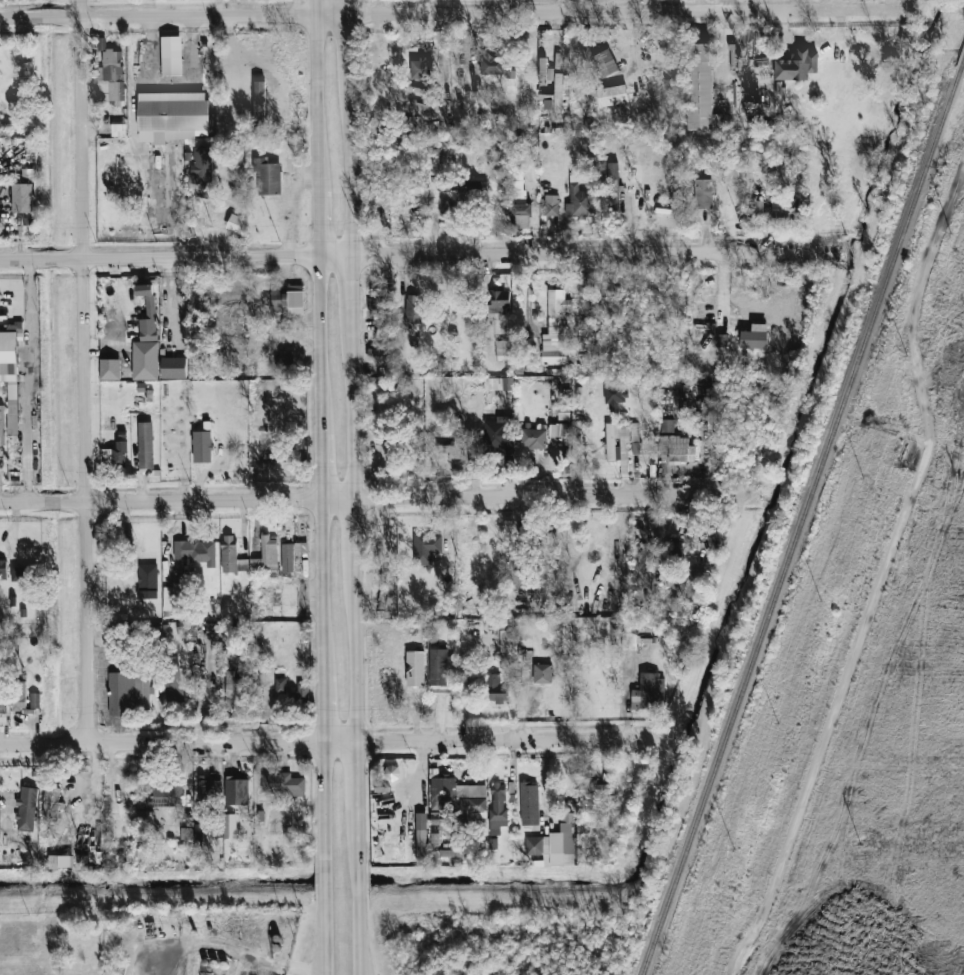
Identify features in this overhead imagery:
road: (316, 5)
road: (345, 5)
road: (450, 9)
building: (907, 35)
road: (346, 45)
building: (172, 55)
building: (605, 63)
railway: (963, 63)
building: (542, 64)
building: (492, 65)
building: (796, 65)
building: (420, 68)
parking lot: (170, 69)
building: (111, 77)
building: (701, 88)
building: (560, 91)
building: (612, 95)
road: (317, 100)
building: (548, 103)
building: (168, 116)
building: (119, 130)
building: (202, 166)
road: (349, 168)
building: (267, 177)
building: (517, 185)
building: (613, 185)
building: (377, 188)
building: (475, 188)
building: (703, 193)
building: (23, 198)
building: (579, 202)
building: (550, 205)
building: (758, 206)
building: (785, 207)
building: (445, 208)
building: (521, 216)
road: (318, 222)
building: (236, 223)
road: (586, 253)
road: (175, 258)
road: (351, 285)
building: (276, 299)
building: (296, 299)
building: (499, 302)
building: (284, 303)
building: (745, 305)
building: (413, 308)
building: (148, 313)
building: (384, 318)
building: (166, 319)
building: (555, 328)
building: (754, 339)
road: (319, 345)
building: (502, 350)
building: (377, 355)
building: (285, 358)
building: (146, 361)
building: (110, 369)
road: (85, 370)
building: (10, 375)
road: (32, 381)
building: (497, 383)
building: (614, 394)
road: (350, 406)
building: (564, 413)
building: (667, 425)
building: (557, 429)
building: (634, 431)
building: (499, 434)
building: (533, 438)
building: (617, 441)
building: (145, 445)
building: (262, 445)
building: (202, 446)
building: (635, 447)
building: (454, 448)
building: (676, 448)
building: (114, 455)
road: (320, 467)
building: (649, 471)
road: (367, 498)
railway: (803, 520)
road: (351, 529)
building: (431, 545)
building: (196, 550)
building: (269, 553)
building: (231, 555)
building: (287, 557)
building: (3, 568)
road: (880, 572)
building: (22, 573)
building: (384, 578)
building: (516, 578)
building: (147, 581)
road: (321, 587)
building: (173, 597)
building: (507, 639)
building: (646, 643)
road: (352, 649)
building: (439, 666)
building: (542, 673)
building: (280, 685)
building: (231, 688)
building: (497, 689)
building: (303, 690)
building: (649, 691)
building: (129, 693)
building: (35, 700)
building: (3, 702)
building: (18, 702)
road: (323, 707)
road: (322, 738)
road: (355, 773)
building: (282, 784)
building: (596, 788)
building: (209, 789)
building: (236, 791)
building: (164, 795)
building: (461, 798)
building: (529, 803)
building: (50, 804)
building: (122, 808)
building: (498, 808)
building: (26, 809)
building: (0, 812)
building: (229, 826)
building: (434, 832)
building: (186, 833)
road: (357, 837)
building: (421, 838)
building: (555, 844)
building: (461, 852)
road: (325, 856)
building: (66, 861)
road: (359, 920)
road: (19, 946)
road: (219, 949)
road: (321, 957)
road: (364, 957)
building: (6, 973)

